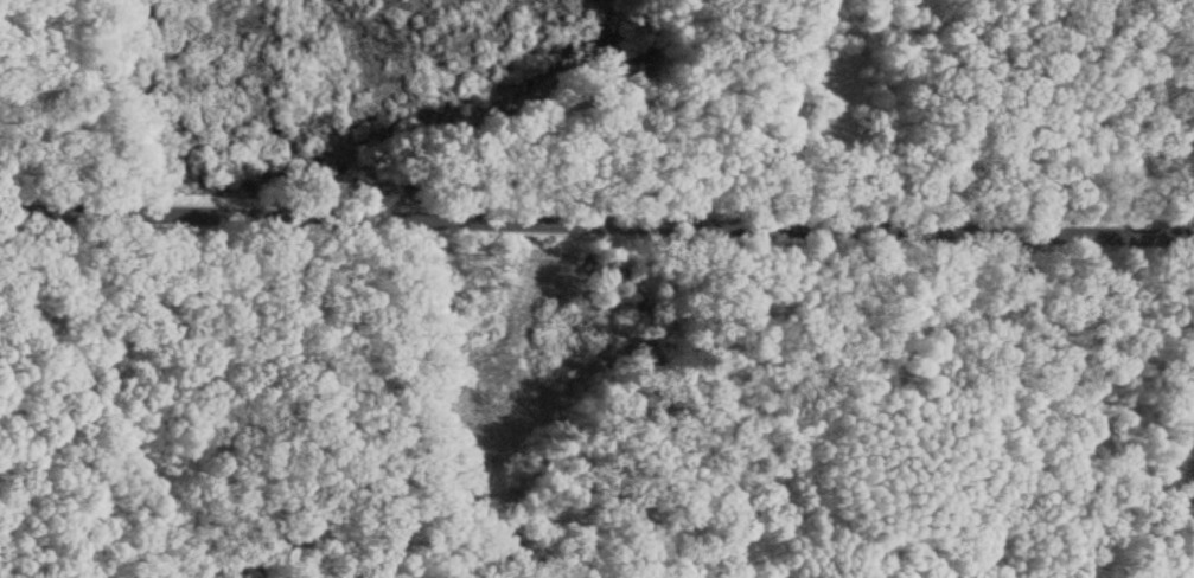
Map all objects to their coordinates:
road: (596, 182)
road: (815, 352)

